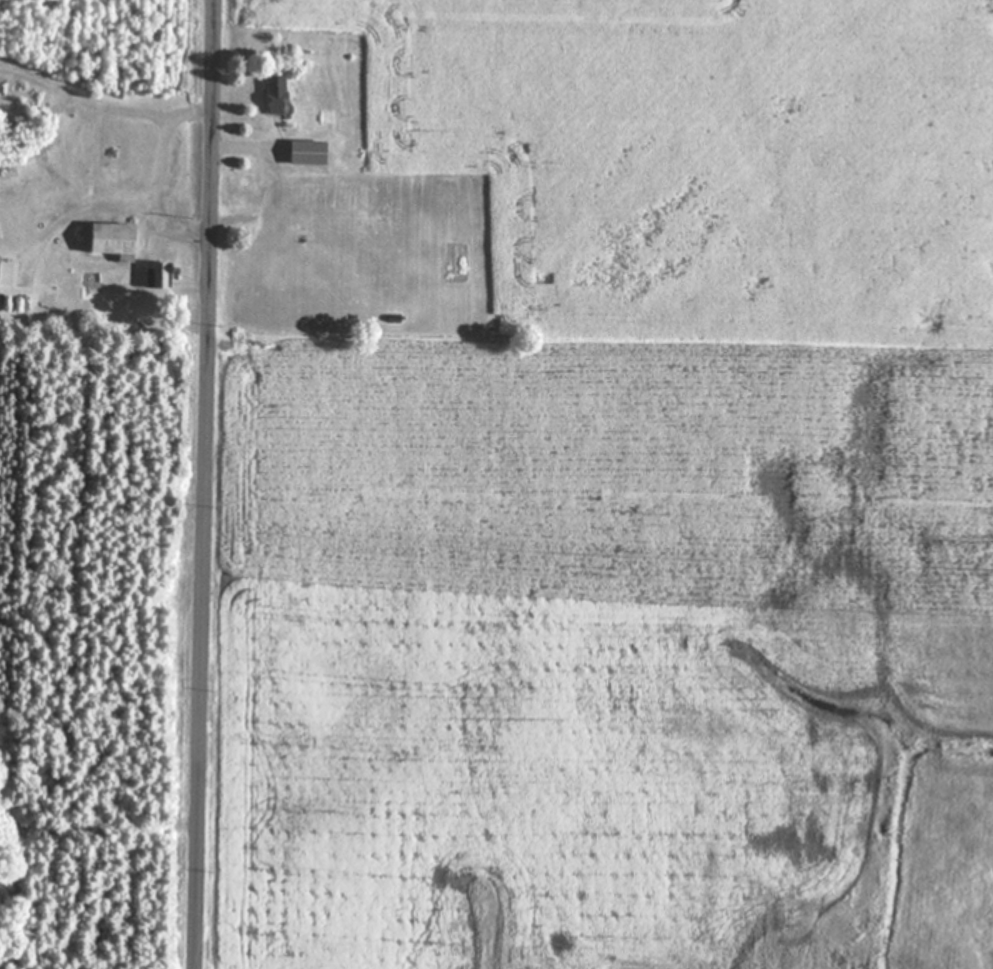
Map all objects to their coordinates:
building: (279, 93)
building: (312, 151)
road: (113, 206)
building: (116, 240)
building: (0, 270)
building: (159, 275)
road: (204, 484)

